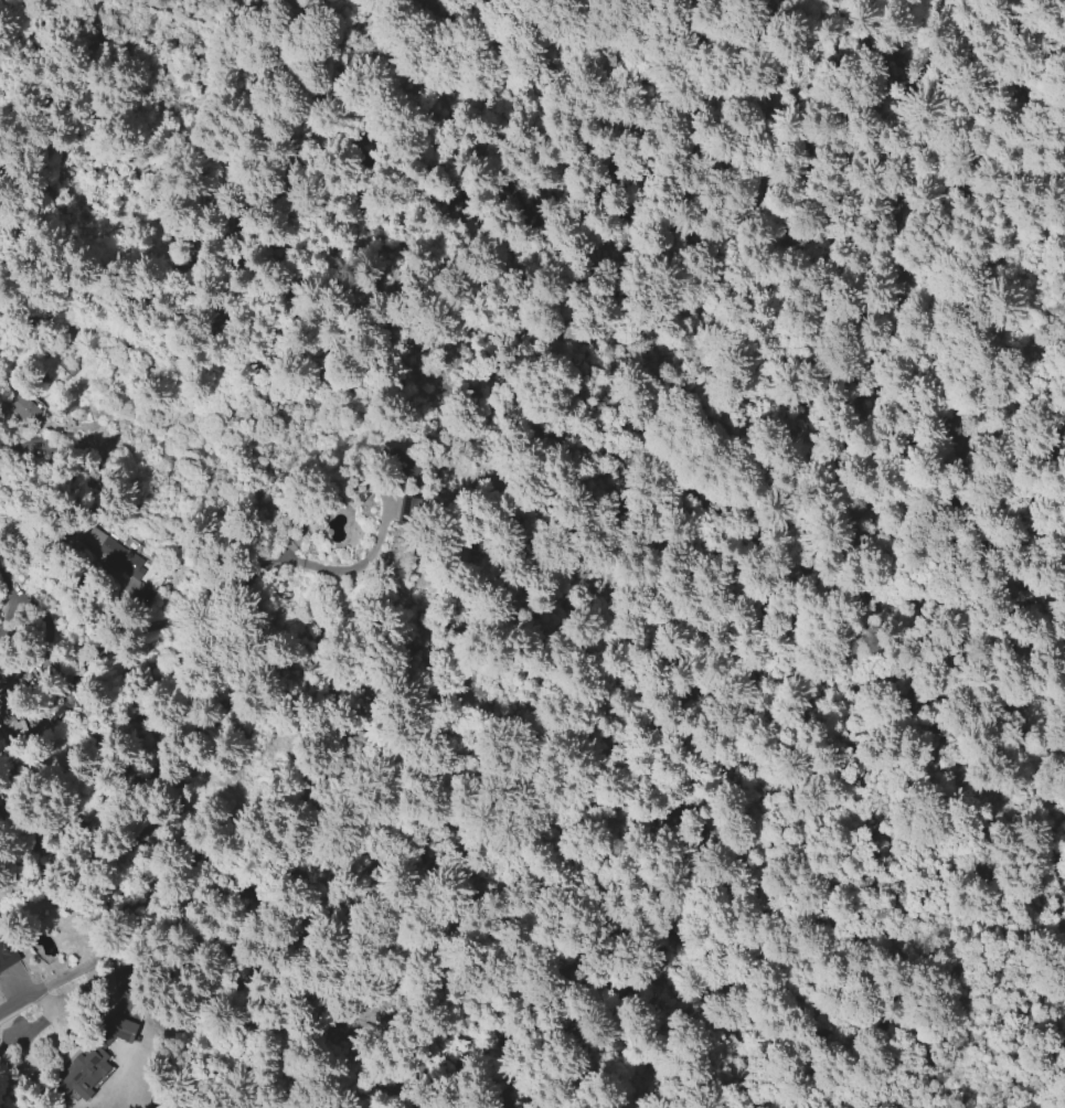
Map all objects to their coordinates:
road: (23, 4)
road: (153, 4)
road: (396, 4)
road: (717, 12)
road: (226, 58)
road: (492, 63)
road: (969, 461)
road: (628, 535)
road: (684, 1021)

